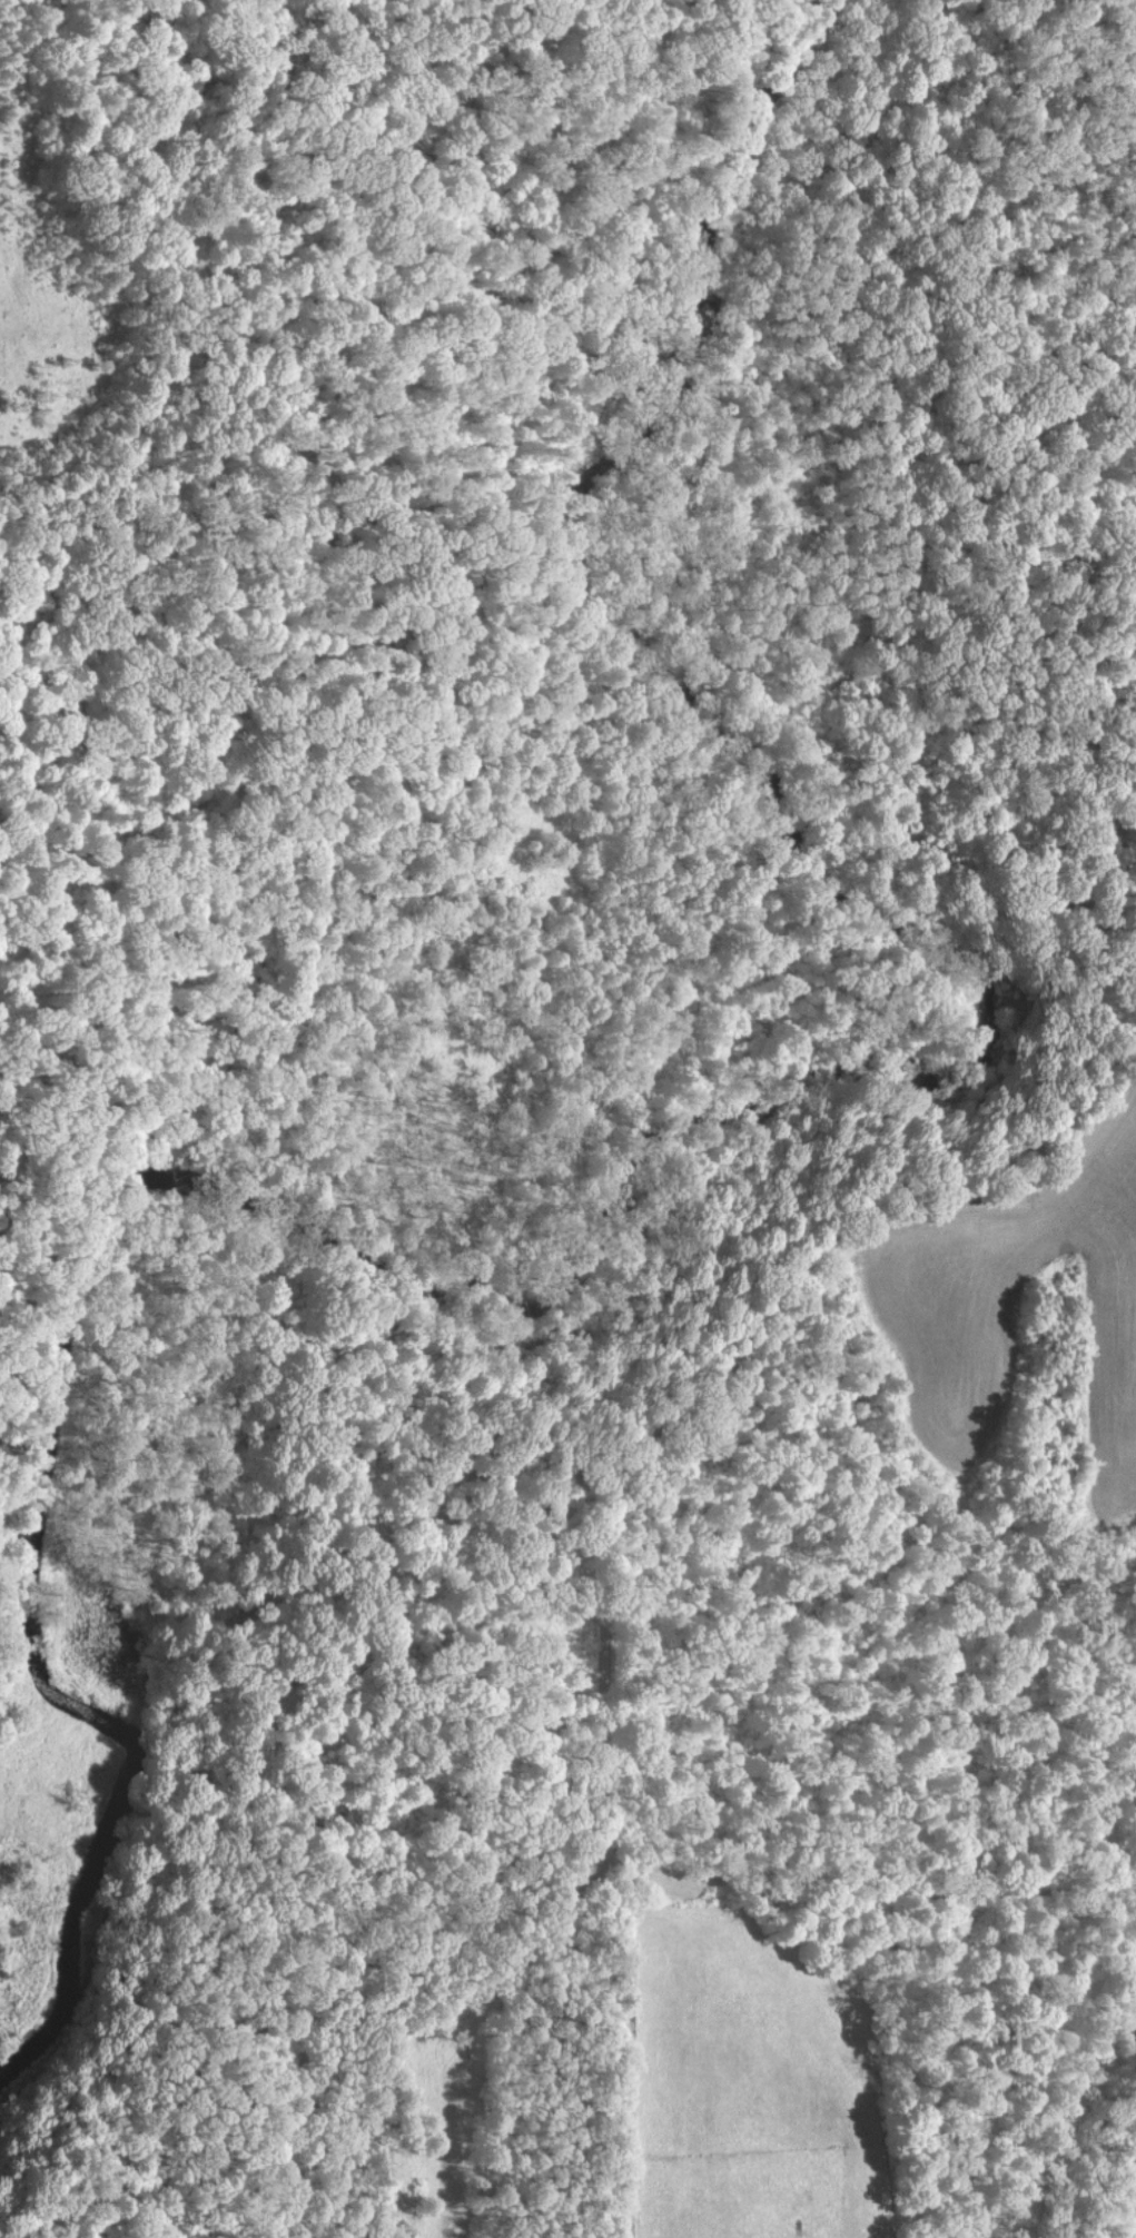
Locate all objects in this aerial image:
road: (1133, 14)
road: (606, 1494)
road: (871, 1892)

